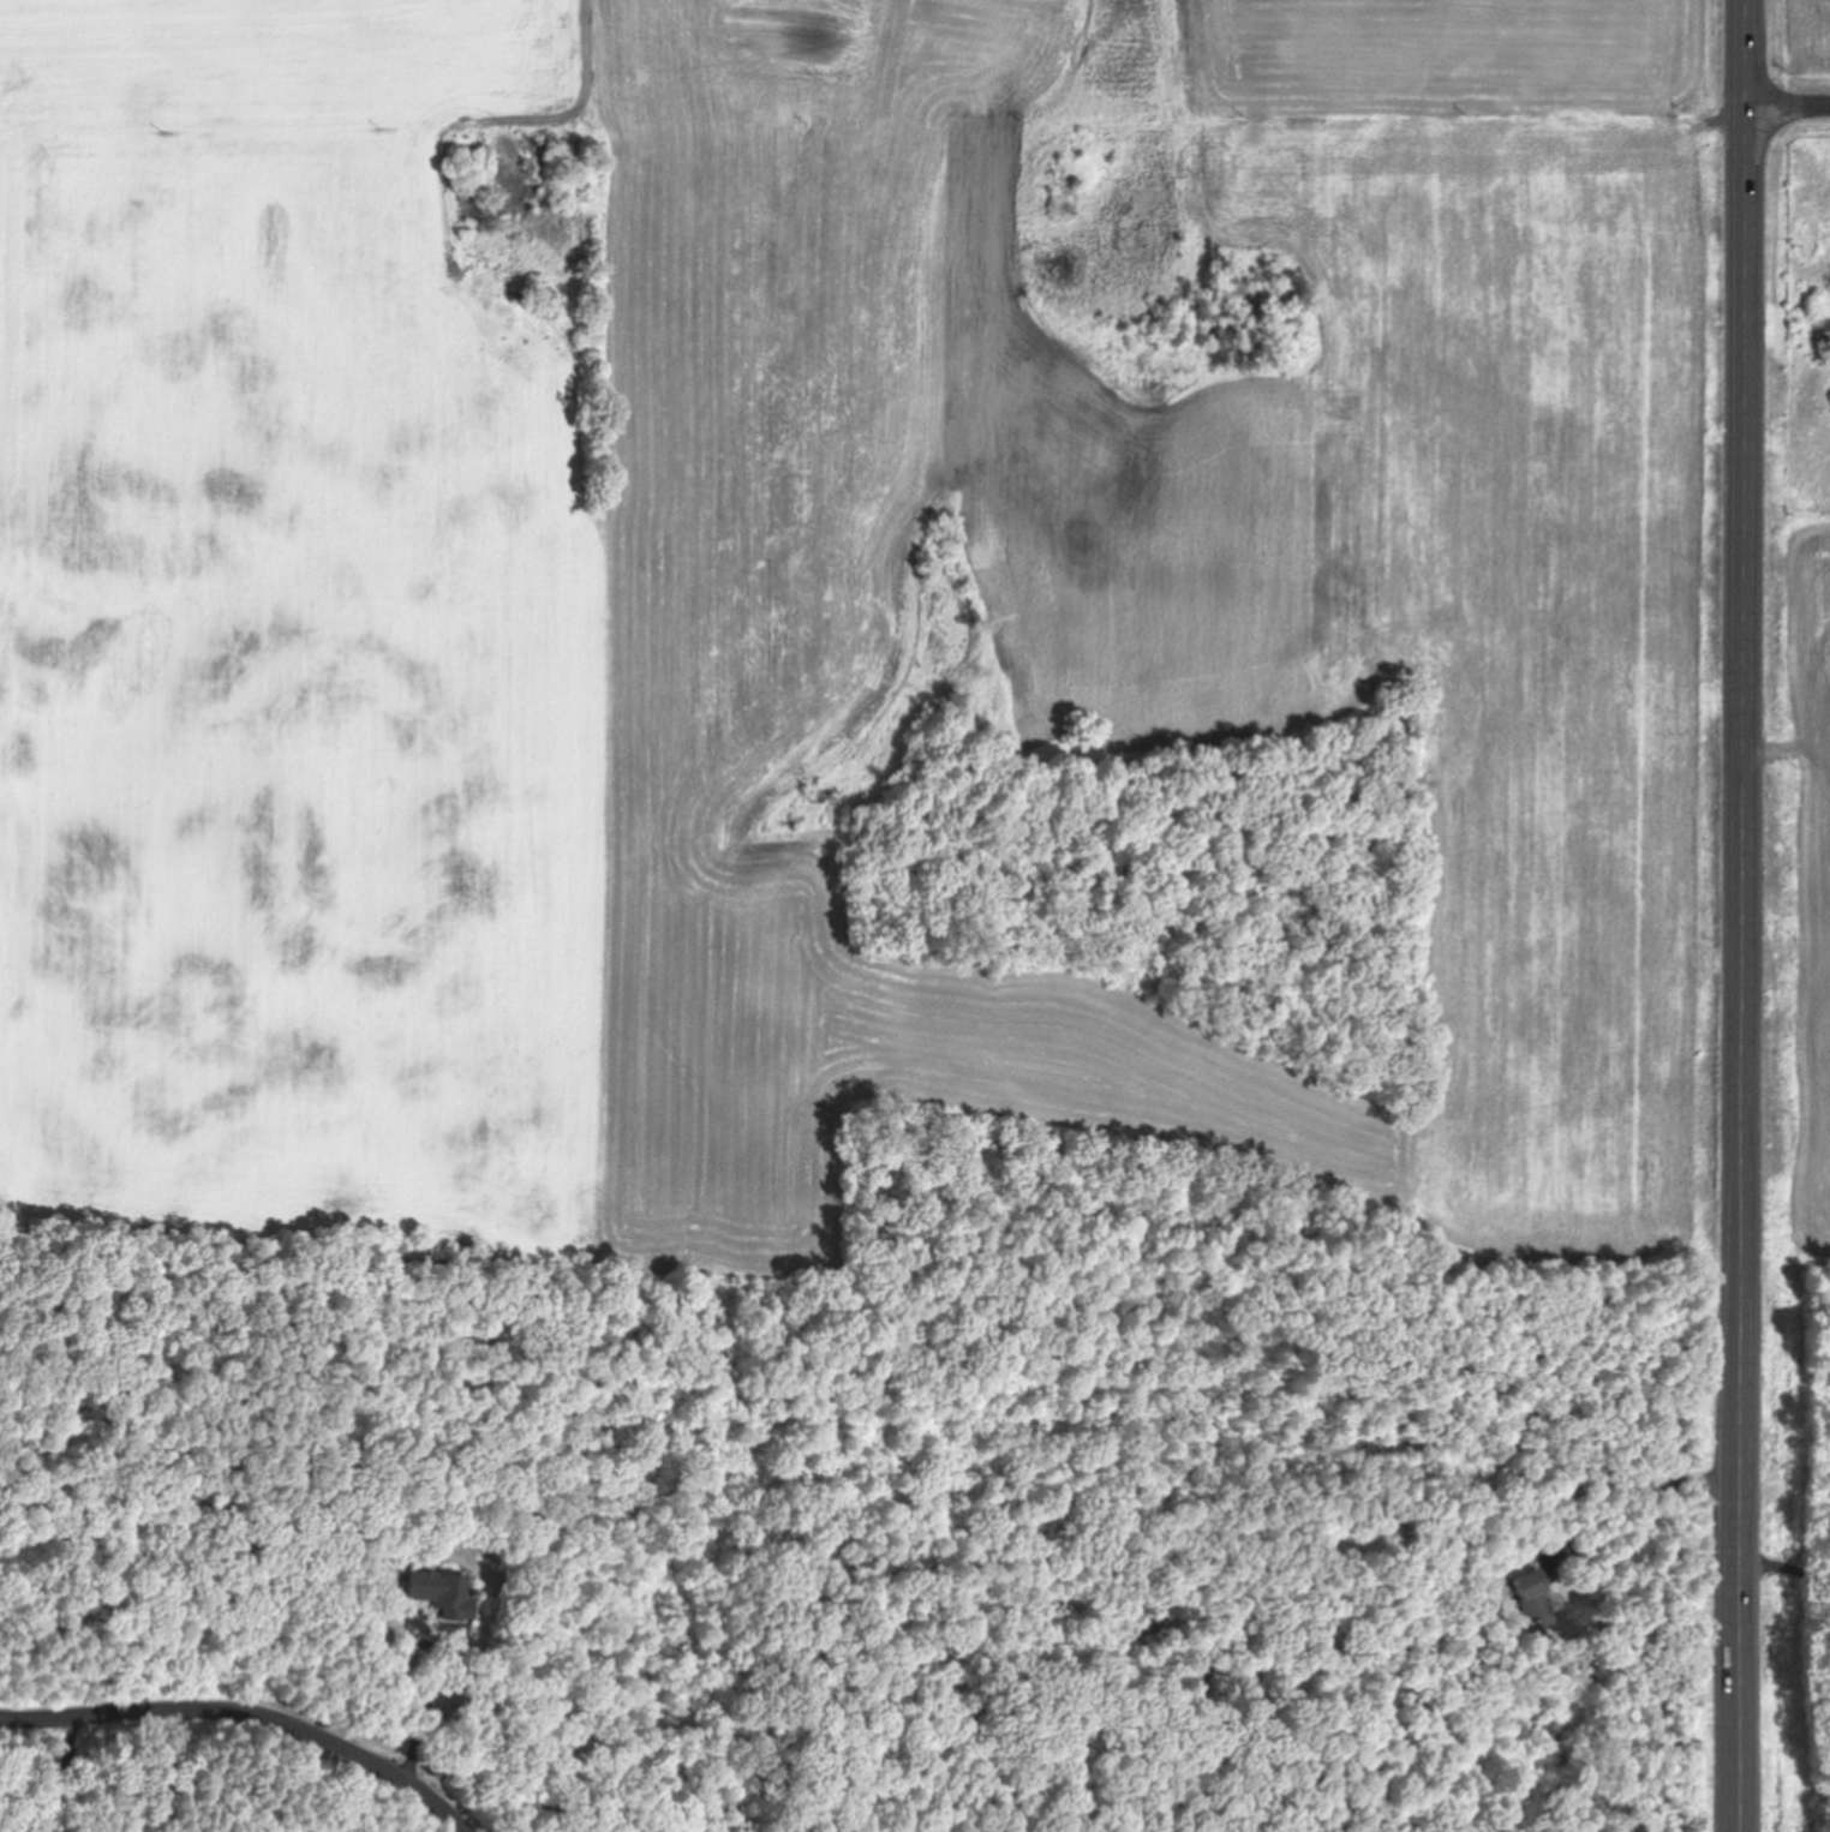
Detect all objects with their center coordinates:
road: (1790, 100)
road: (1741, 915)
building: (447, 1593)
building: (1530, 1594)
road: (259, 1710)

